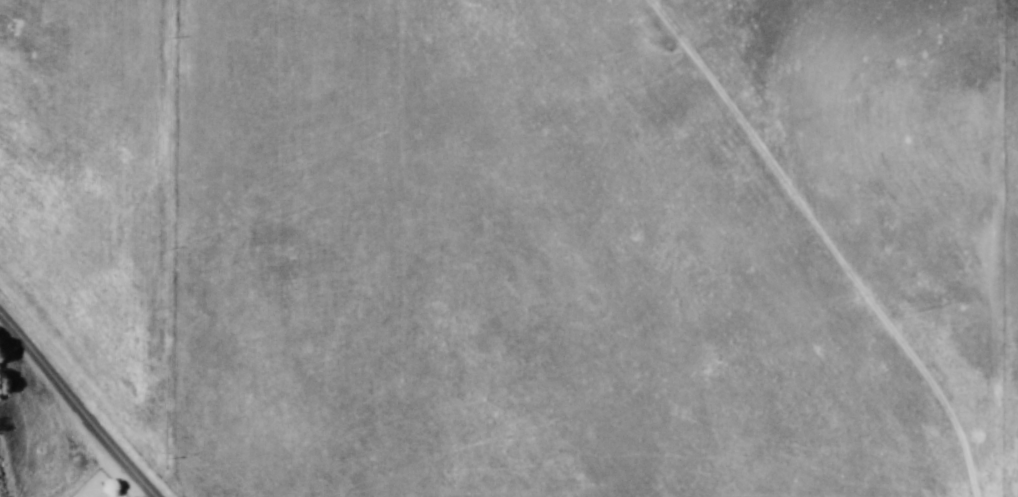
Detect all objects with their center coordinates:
crop: (528, 240)
road: (71, 408)

